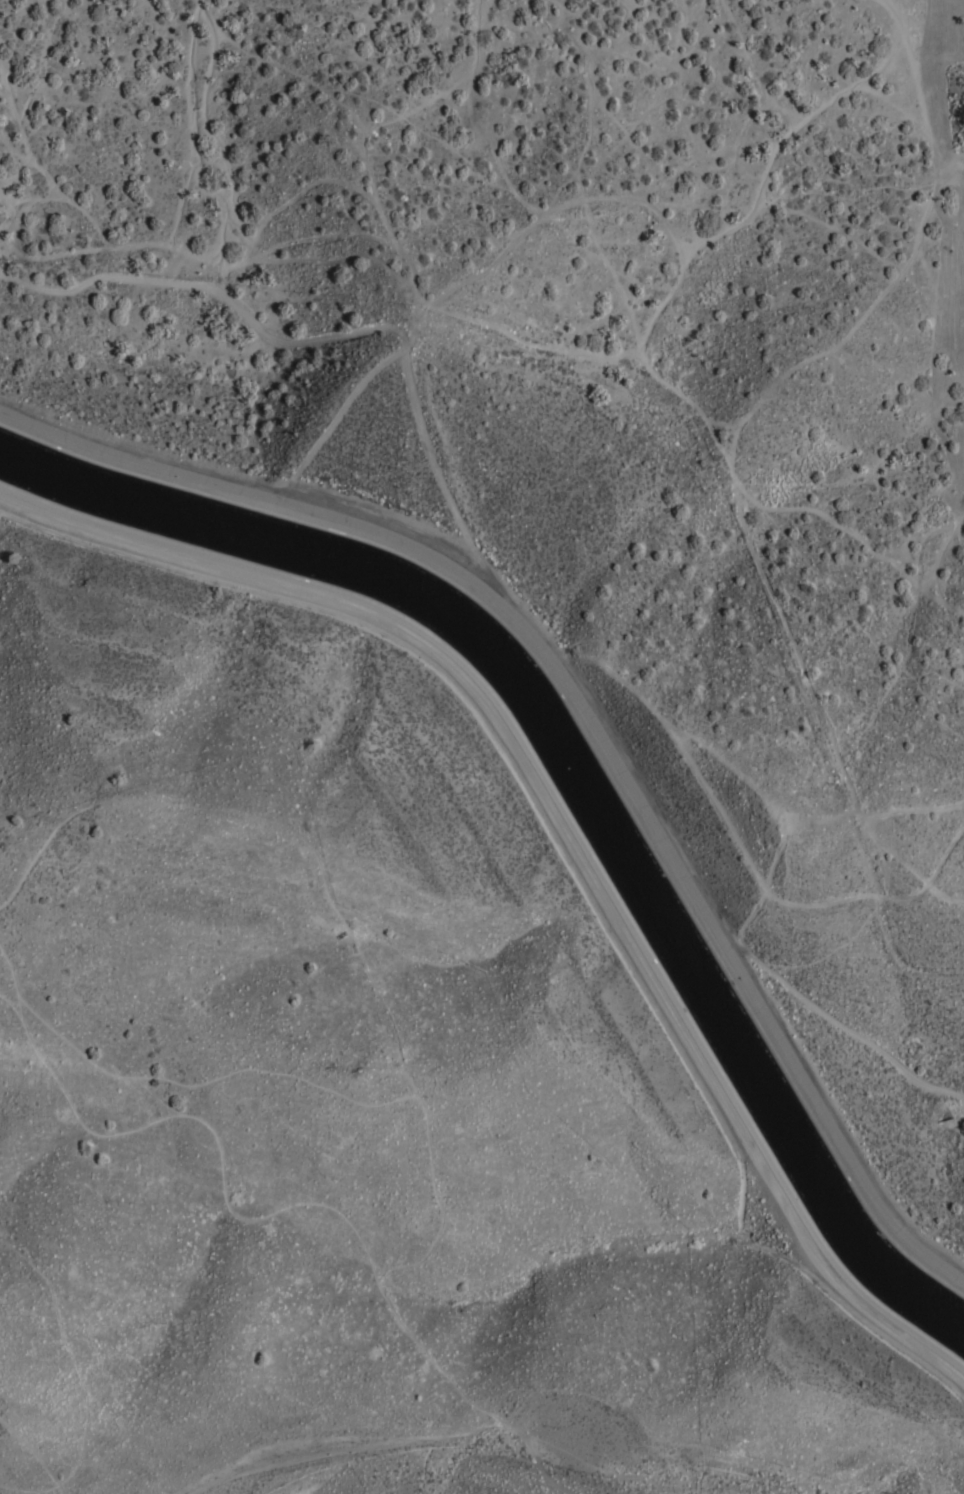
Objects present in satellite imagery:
road: (338, 519)
road: (559, 834)
road: (772, 1021)
road: (418, 1106)
road: (31, 1455)

